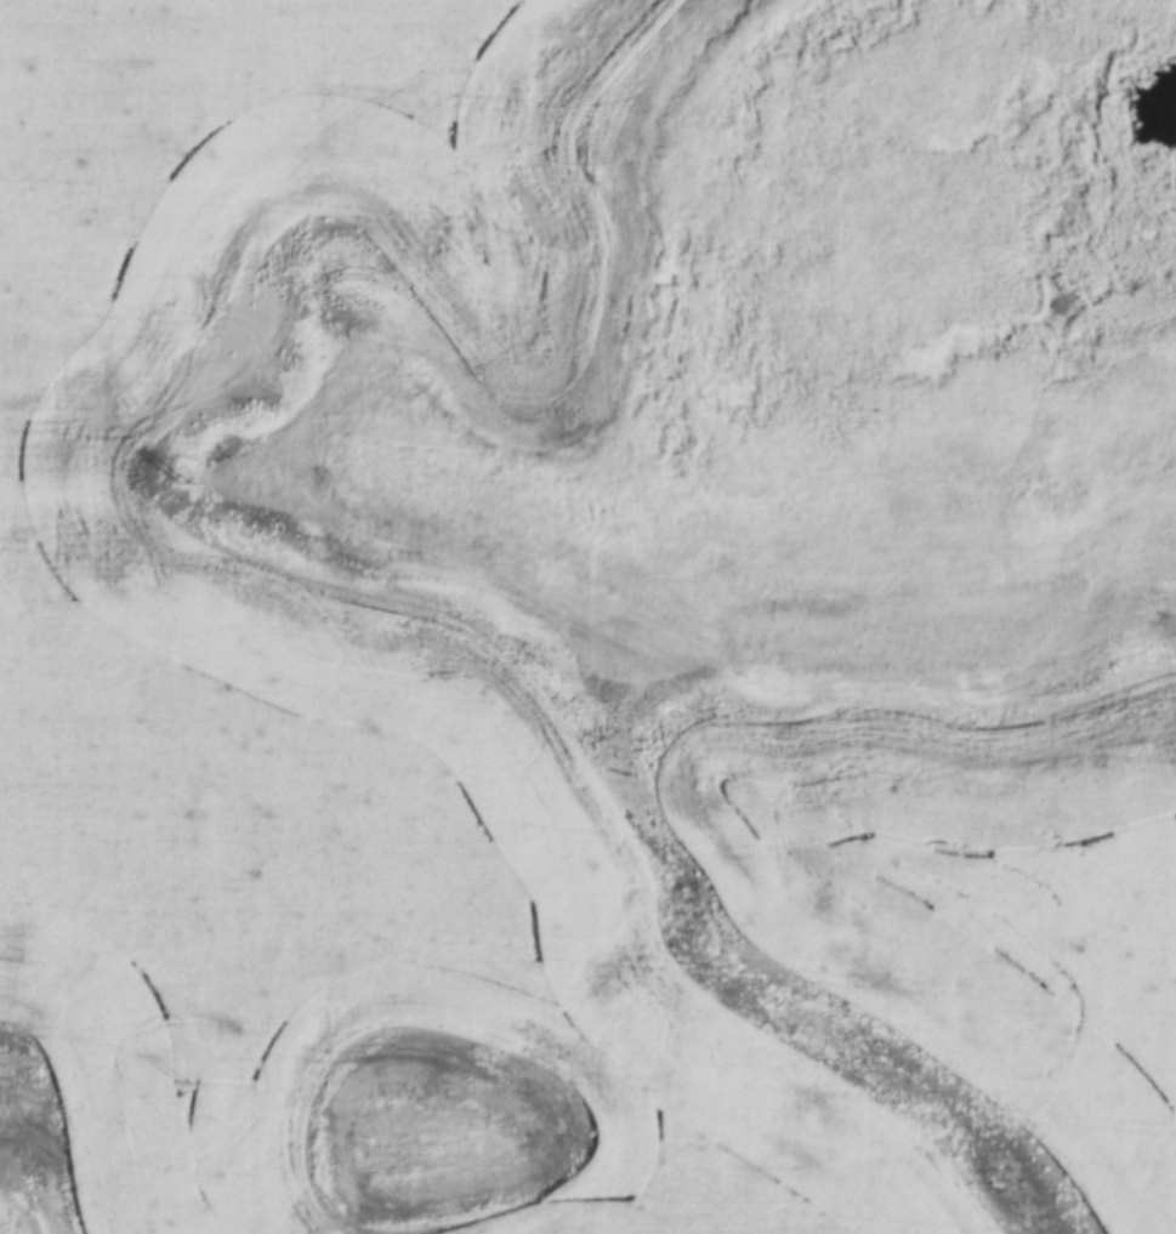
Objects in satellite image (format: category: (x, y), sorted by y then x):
power tower: (182, 480)
power tower: (181, 1081)

